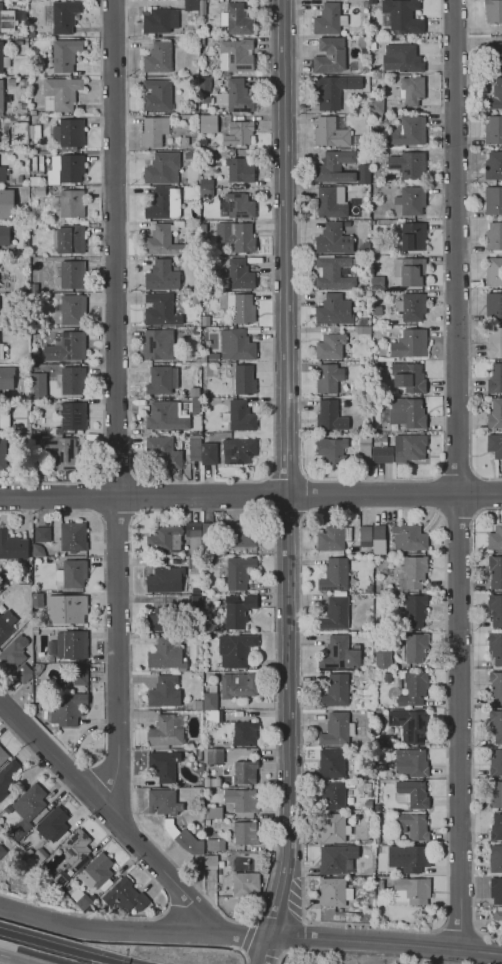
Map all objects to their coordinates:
building: (372, 2)
building: (365, 3)
building: (191, 5)
building: (493, 11)
building: (65, 16)
building: (403, 16)
building: (330, 19)
building: (6, 20)
building: (160, 20)
building: (237, 20)
building: (32, 34)
building: (25, 35)
building: (196, 39)
building: (204, 41)
building: (19, 42)
building: (363, 44)
building: (372, 46)
building: (65, 55)
building: (236, 55)
building: (330, 55)
building: (493, 56)
building: (159, 57)
building: (402, 58)
building: (3, 59)
building: (364, 70)
building: (205, 84)
building: (334, 90)
building: (412, 90)
building: (61, 93)
building: (1, 95)
building: (158, 95)
building: (365, 95)
building: (237, 96)
building: (495, 96)
building: (204, 99)
building: (391, 105)
building: (376, 107)
building: (22, 108)
building: (193, 109)
building: (33, 112)
building: (208, 123)
building: (35, 129)
building: (493, 130)
building: (154, 131)
building: (407, 132)
building: (21, 133)
building: (337, 133)
building: (69, 134)
building: (239, 134)
building: (185, 141)
building: (203, 143)
building: (189, 155)
building: (211, 159)
building: (408, 164)
building: (494, 165)
building: (335, 166)
building: (163, 168)
building: (66, 169)
building: (240, 170)
building: (3, 173)
building: (364, 174)
building: (20, 179)
building: (206, 183)
building: (39, 190)
building: (206, 192)
building: (412, 200)
building: (493, 200)
building: (332, 202)
building: (164, 203)
building: (7, 204)
building: (69, 204)
building: (236, 206)
building: (186, 223)
building: (32, 226)
building: (203, 228)
building: (5, 235)
building: (237, 236)
building: (413, 236)
building: (494, 237)
building: (69, 238)
building: (333, 239)
building: (163, 240)
building: (364, 248)
road: (468, 251)
building: (27, 259)
building: (205, 261)
building: (410, 271)
building: (494, 271)
building: (331, 272)
building: (71, 274)
building: (238, 275)
building: (162, 276)
building: (378, 283)
road: (102, 290)
building: (35, 298)
building: (195, 298)
building: (412, 306)
building: (494, 306)
building: (242, 307)
building: (72, 310)
building: (161, 310)
building: (333, 310)
building: (378, 310)
building: (2, 319)
building: (205, 321)
building: (363, 322)
building: (364, 330)
building: (195, 331)
building: (37, 333)
building: (494, 342)
building: (410, 344)
building: (159, 345)
building: (237, 345)
building: (330, 346)
building: (67, 347)
building: (2, 351)
building: (213, 357)
building: (94, 366)
building: (25, 369)
building: (367, 373)
building: (7, 376)
building: (409, 377)
building: (329, 378)
building: (495, 379)
building: (73, 380)
building: (162, 380)
building: (244, 380)
building: (39, 385)
building: (195, 392)
building: (205, 393)
building: (33, 401)
road: (115, 405)
building: (196, 405)
building: (374, 411)
building: (408, 413)
building: (495, 413)
building: (74, 416)
building: (164, 416)
building: (241, 416)
building: (331, 416)
building: (4, 421)
building: (365, 444)
building: (495, 444)
building: (412, 448)
building: (195, 449)
building: (331, 449)
building: (239, 450)
building: (381, 450)
building: (164, 451)
building: (61, 452)
building: (208, 453)
building: (3, 454)
road: (286, 468)
road: (458, 471)
road: (287, 473)
road: (458, 474)
building: (500, 475)
road: (118, 476)
road: (371, 480)
road: (200, 481)
road: (438, 494)
road: (479, 494)
road: (136, 495)
road: (250, 495)
road: (268, 495)
road: (309, 495)
road: (96, 498)
road: (159, 511)
road: (441, 516)
road: (457, 516)
road: (116, 518)
road: (287, 520)
building: (379, 532)
building: (240, 533)
building: (42, 534)
building: (365, 536)
building: (73, 537)
building: (194, 537)
building: (409, 537)
building: (209, 538)
building: (333, 538)
building: (495, 539)
building: (165, 540)
building: (13, 546)
building: (379, 547)
building: (38, 550)
building: (370, 551)
building: (237, 552)
building: (194, 562)
building: (495, 571)
building: (239, 572)
building: (412, 573)
building: (72, 574)
building: (335, 575)
building: (165, 580)
building: (369, 596)
building: (193, 600)
building: (66, 608)
building: (496, 609)
building: (415, 610)
building: (238, 611)
building: (336, 612)
building: (206, 617)
building: (164, 619)
building: (6, 624)
building: (209, 626)
building: (35, 630)
building: (72, 645)
building: (414, 647)
building: (496, 647)
building: (236, 650)
building: (14, 653)
building: (340, 653)
building: (168, 654)
road: (104, 656)
building: (383, 660)
building: (37, 669)
building: (23, 673)
building: (80, 674)
building: (239, 685)
building: (15, 686)
building: (496, 686)
building: (36, 687)
building: (414, 689)
building: (335, 691)
building: (164, 692)
building: (210, 698)
building: (197, 704)
building: (66, 708)
building: (369, 714)
building: (214, 715)
road: (471, 720)
building: (411, 725)
building: (496, 725)
building: (337, 729)
building: (52, 731)
building: (166, 732)
building: (245, 733)
building: (3, 755)
building: (215, 756)
building: (414, 761)
building: (331, 763)
building: (496, 763)
building: (164, 765)
building: (245, 772)
building: (7, 776)
building: (209, 781)
road: (82, 782)
building: (218, 791)
building: (412, 794)
building: (332, 795)
building: (496, 796)
building: (242, 799)
building: (164, 801)
building: (369, 805)
building: (378, 808)
building: (27, 809)
building: (214, 812)
road: (112, 818)
building: (52, 824)
building: (413, 826)
building: (333, 828)
building: (496, 828)
building: (245, 833)
building: (184, 838)
building: (378, 840)
building: (215, 844)
building: (77, 848)
building: (2, 850)
building: (29, 852)
building: (38, 855)
building: (6, 858)
building: (409, 858)
building: (338, 859)
building: (496, 859)
building: (211, 862)
building: (96, 871)
road: (149, 874)
building: (61, 879)
building: (245, 884)
building: (381, 885)
road: (180, 890)
building: (412, 890)
building: (496, 890)
building: (333, 891)
road: (1, 897)
building: (126, 897)
building: (80, 899)
building: (497, 915)
road: (253, 918)
road: (458, 925)
road: (134, 930)
road: (247, 934)
road: (386, 943)
road: (63, 947)
road: (266, 950)
road: (241, 951)
road: (242, 953)
road: (282, 954)
road: (14, 959)

